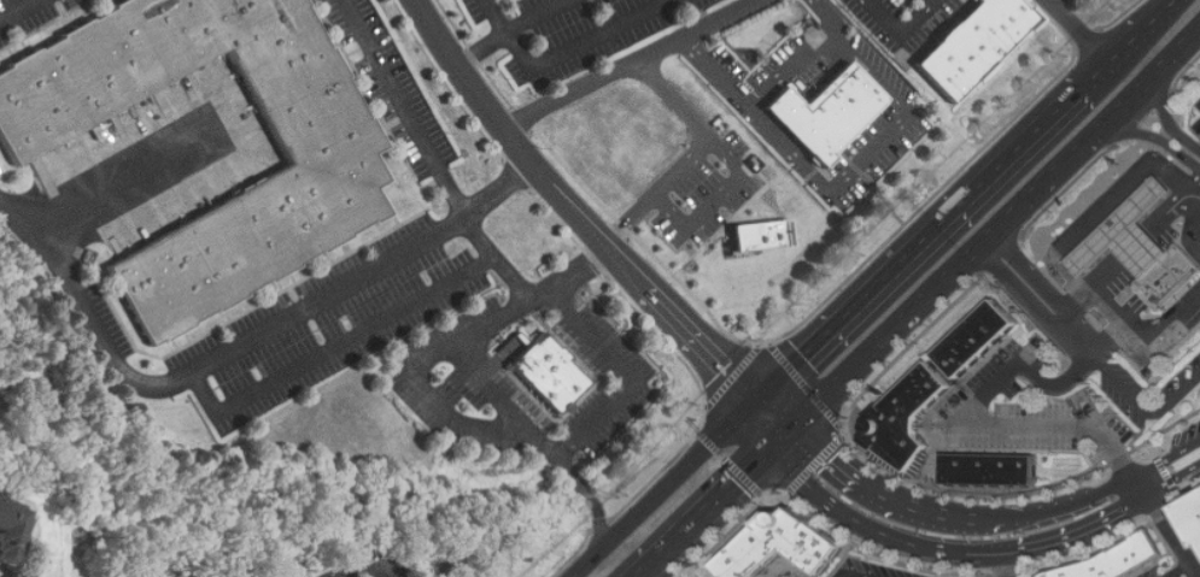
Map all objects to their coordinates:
road: (929, 1)
road: (1050, 1)
road: (1175, 2)
road: (18, 10)
parking lot: (480, 10)
road: (885, 16)
road: (918, 16)
parking lot: (29, 17)
parking lot: (901, 19)
road: (511, 30)
road: (1079, 30)
parking lot: (585, 34)
building: (973, 46)
road: (1128, 47)
road: (563, 53)
road: (631, 63)
road: (792, 67)
parking lot: (390, 86)
road: (1164, 105)
road: (404, 108)
building: (827, 113)
parking lot: (896, 118)
road: (1145, 133)
road: (690, 154)
building: (327, 176)
road: (847, 178)
road: (129, 182)
road: (1189, 192)
road: (1172, 207)
road: (574, 211)
road: (1189, 213)
road: (714, 217)
building: (751, 235)
road: (993, 235)
building: (1129, 235)
road: (920, 246)
building: (1172, 278)
road: (514, 279)
road: (1088, 292)
road: (1040, 299)
parking lot: (107, 320)
parking lot: (323, 325)
road: (1114, 336)
road: (355, 337)
building: (979, 338)
road: (240, 346)
parking lot: (456, 370)
building: (543, 370)
road: (491, 390)
traffic signals: (757, 402)
road: (1147, 407)
building: (909, 417)
road: (977, 418)
road: (772, 420)
road: (475, 428)
traffic signals: (786, 438)
road: (1166, 457)
building: (994, 469)
road: (849, 471)
road: (1175, 484)
road: (1143, 488)
road: (667, 489)
road: (590, 500)
road: (1072, 504)
building: (1196, 506)
road: (714, 507)
road: (959, 518)
building: (8, 525)
road: (877, 531)
road: (1172, 531)
road: (1085, 536)
building: (785, 544)
building: (1119, 559)
road: (355, 565)
road: (1013, 566)
road: (1196, 566)
road: (1181, 570)
road: (1178, 573)
road: (857, 575)

